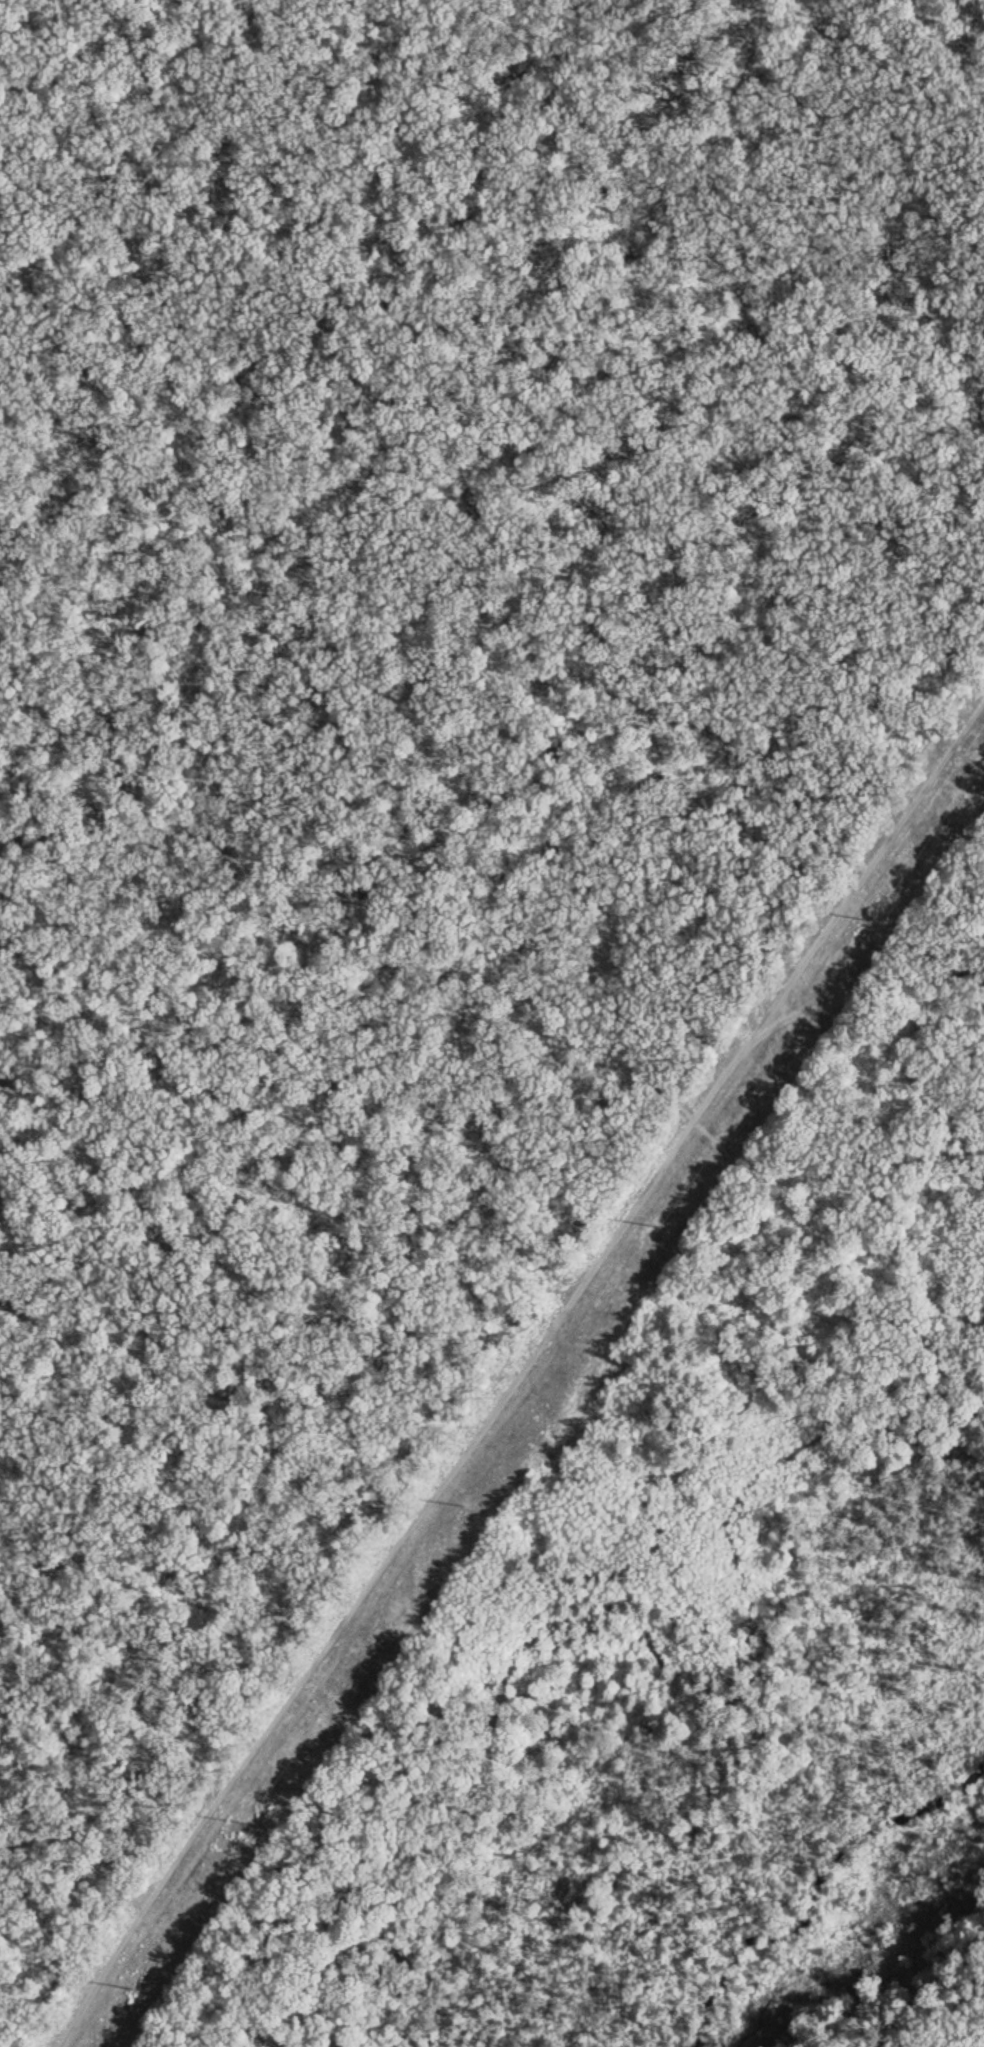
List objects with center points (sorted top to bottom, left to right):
road: (106, 29)
road: (921, 50)
road: (686, 251)
road: (301, 379)
road: (373, 585)
road: (357, 1306)
road: (629, 1640)
road: (457, 1649)
road: (942, 2012)

